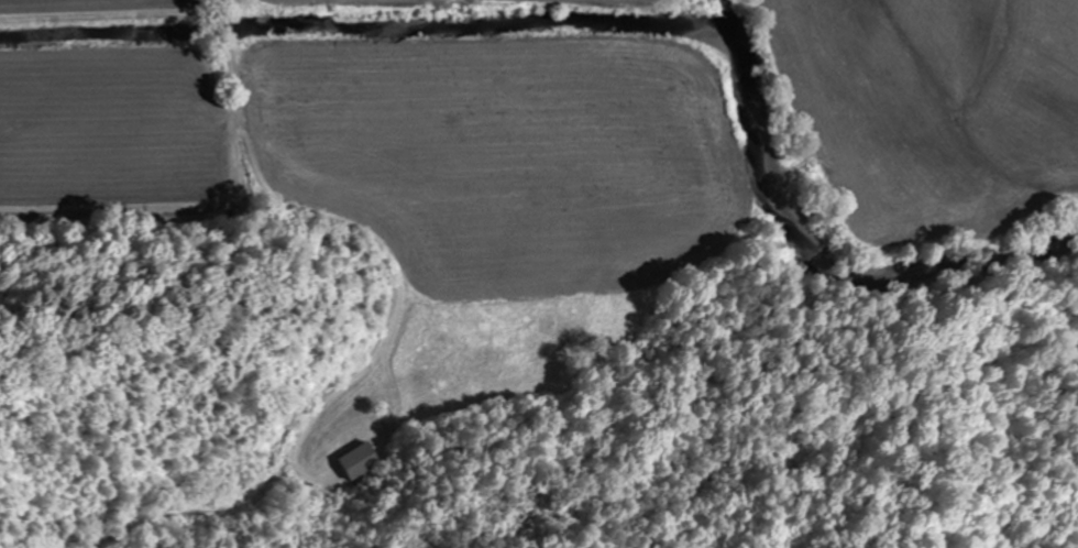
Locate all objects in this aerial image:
building: (360, 460)

